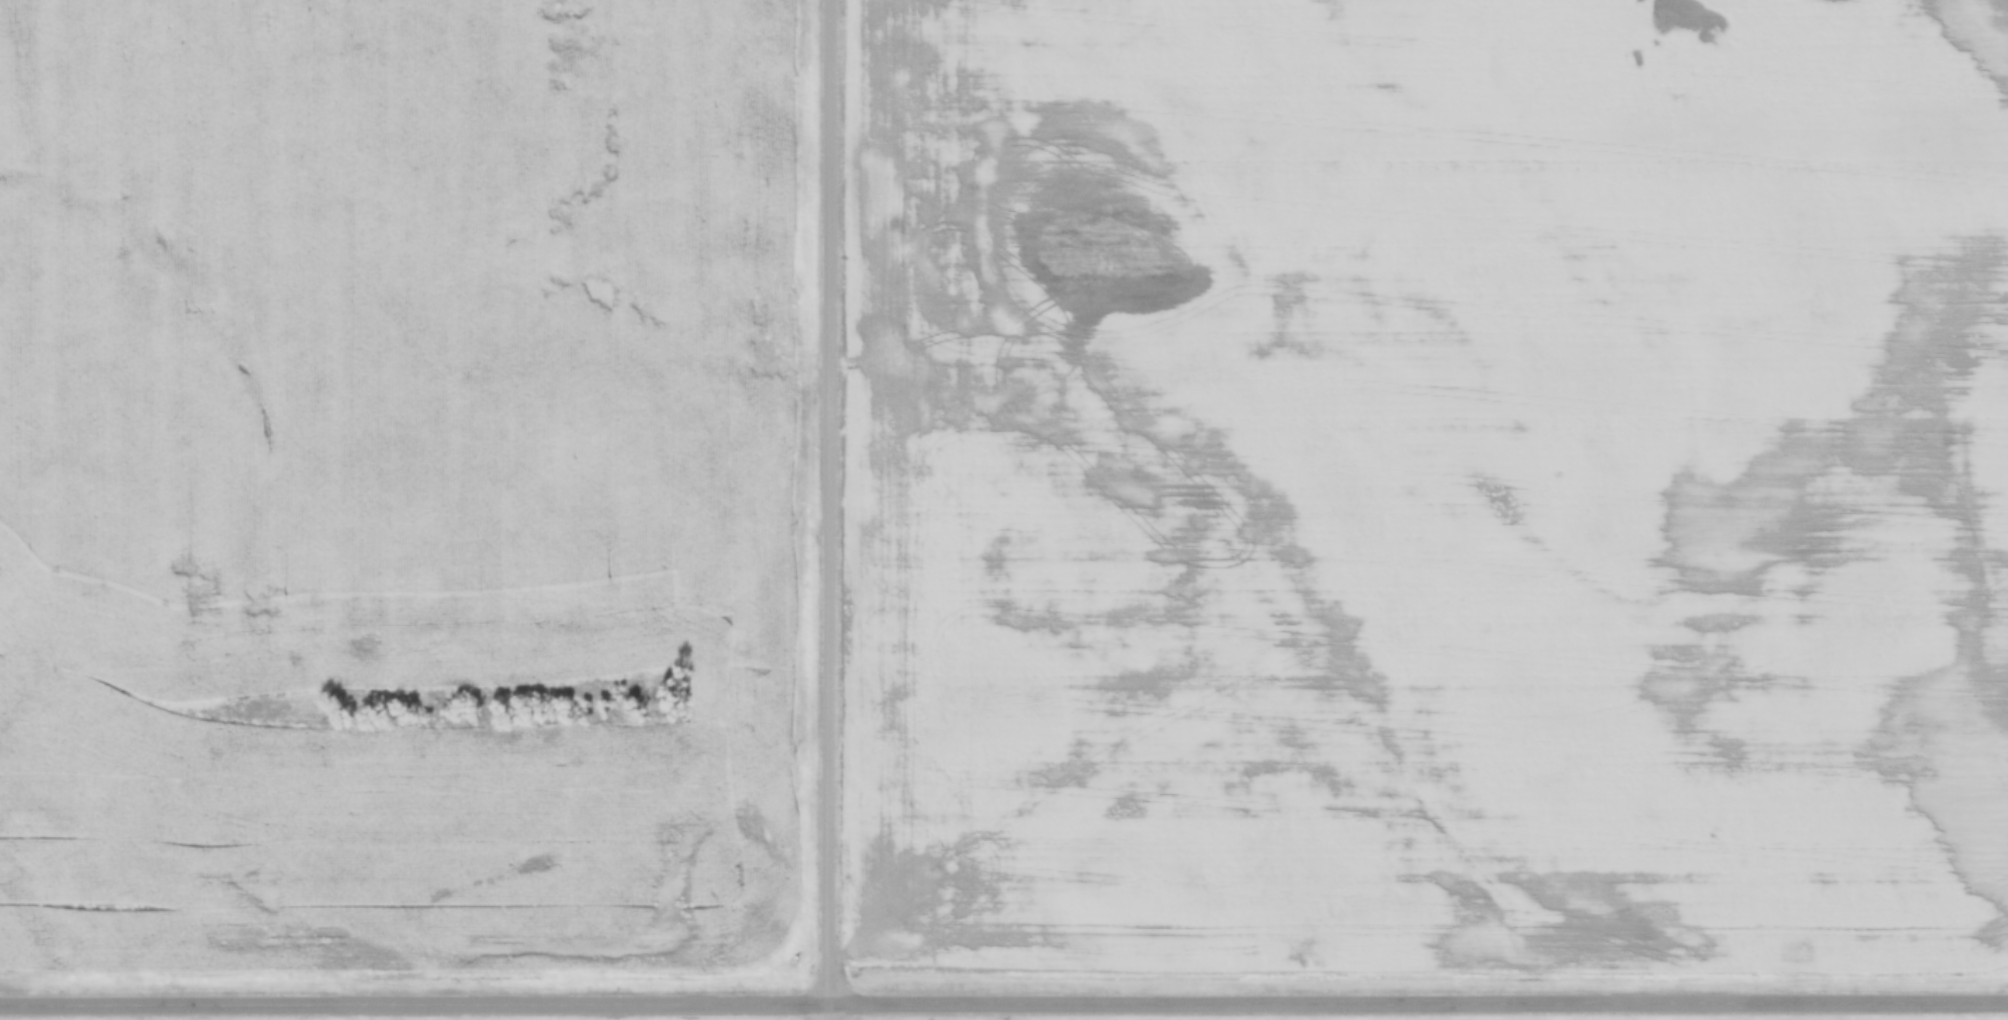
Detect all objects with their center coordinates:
road: (830, 510)
road: (1003, 1002)

